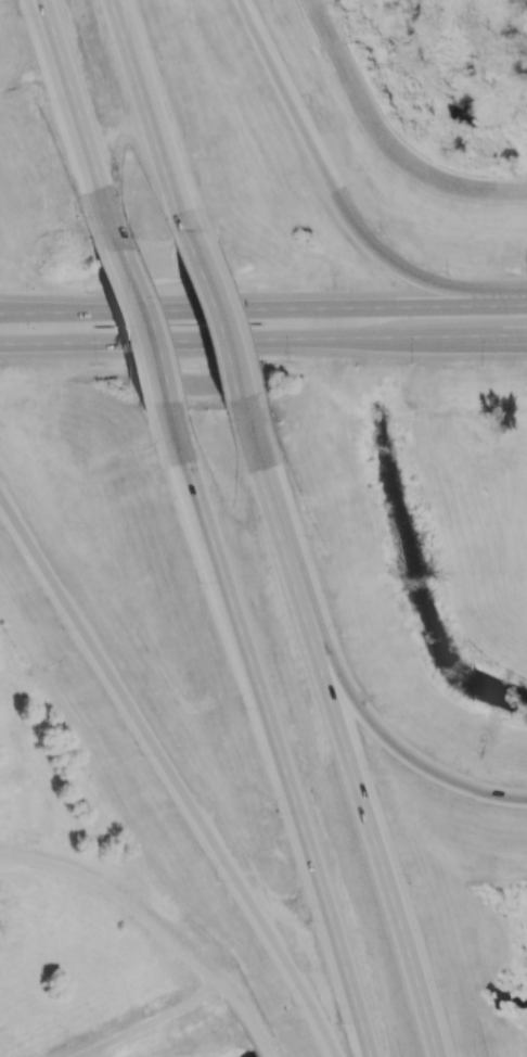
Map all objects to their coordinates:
road: (43, 31)
power tower: (395, 67)
road: (69, 105)
road: (147, 106)
road: (386, 138)
road: (342, 199)
road: (263, 306)
road: (133, 313)
road: (213, 313)
road: (477, 338)
road: (249, 342)
road: (477, 343)
road: (35, 346)
road: (267, 734)
road: (340, 735)
road: (406, 753)
road: (170, 777)
road: (155, 925)
road: (151, 1021)

